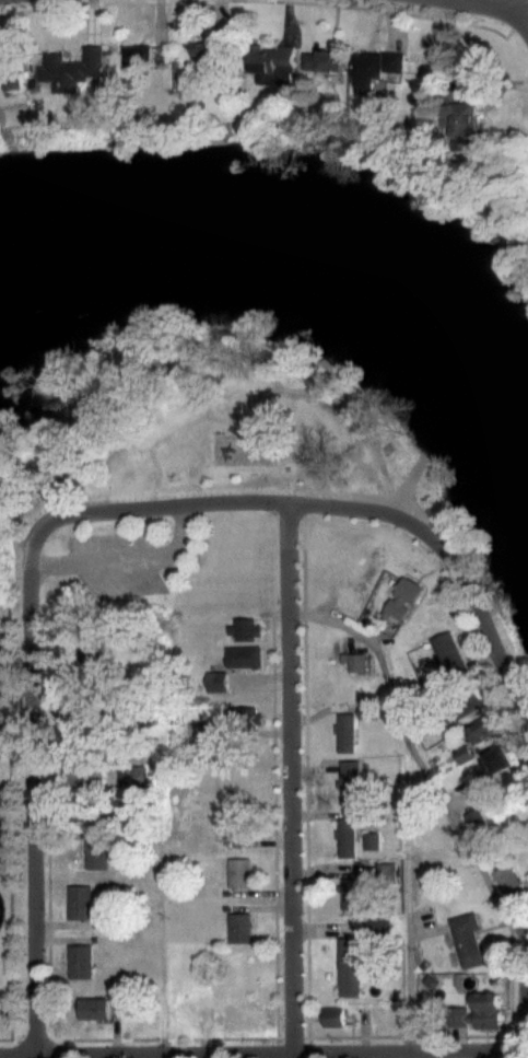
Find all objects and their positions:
road: (69, 4)
road: (496, 4)
road: (391, 11)
road: (508, 19)
building: (211, 58)
building: (146, 59)
building: (322, 61)
building: (273, 62)
building: (73, 68)
building: (375, 70)
building: (466, 123)
park: (494, 198)
river: (308, 232)
park: (225, 422)
road: (341, 504)
road: (126, 559)
parking lot: (113, 562)
building: (402, 598)
road: (302, 607)
building: (245, 628)
building: (447, 651)
building: (245, 655)
building: (89, 661)
building: (355, 662)
building: (218, 681)
building: (466, 701)
building: (93, 713)
building: (244, 717)
building: (483, 729)
building: (345, 732)
road: (412, 755)
building: (500, 758)
building: (85, 769)
building: (132, 775)
road: (288, 778)
building: (351, 781)
wastewater plant: (10, 786)
road: (28, 791)
road: (271, 835)
building: (347, 837)
building: (371, 839)
building: (98, 850)
building: (239, 871)
building: (508, 880)
building: (354, 892)
building: (81, 900)
road: (411, 904)
building: (379, 923)
building: (240, 926)
building: (469, 939)
road: (46, 945)
building: (81, 960)
building: (350, 966)
road: (507, 991)
road: (527, 997)
building: (95, 1008)
building: (335, 1015)
building: (476, 1015)
road: (278, 1036)
road: (263, 1054)
road: (166, 1056)

